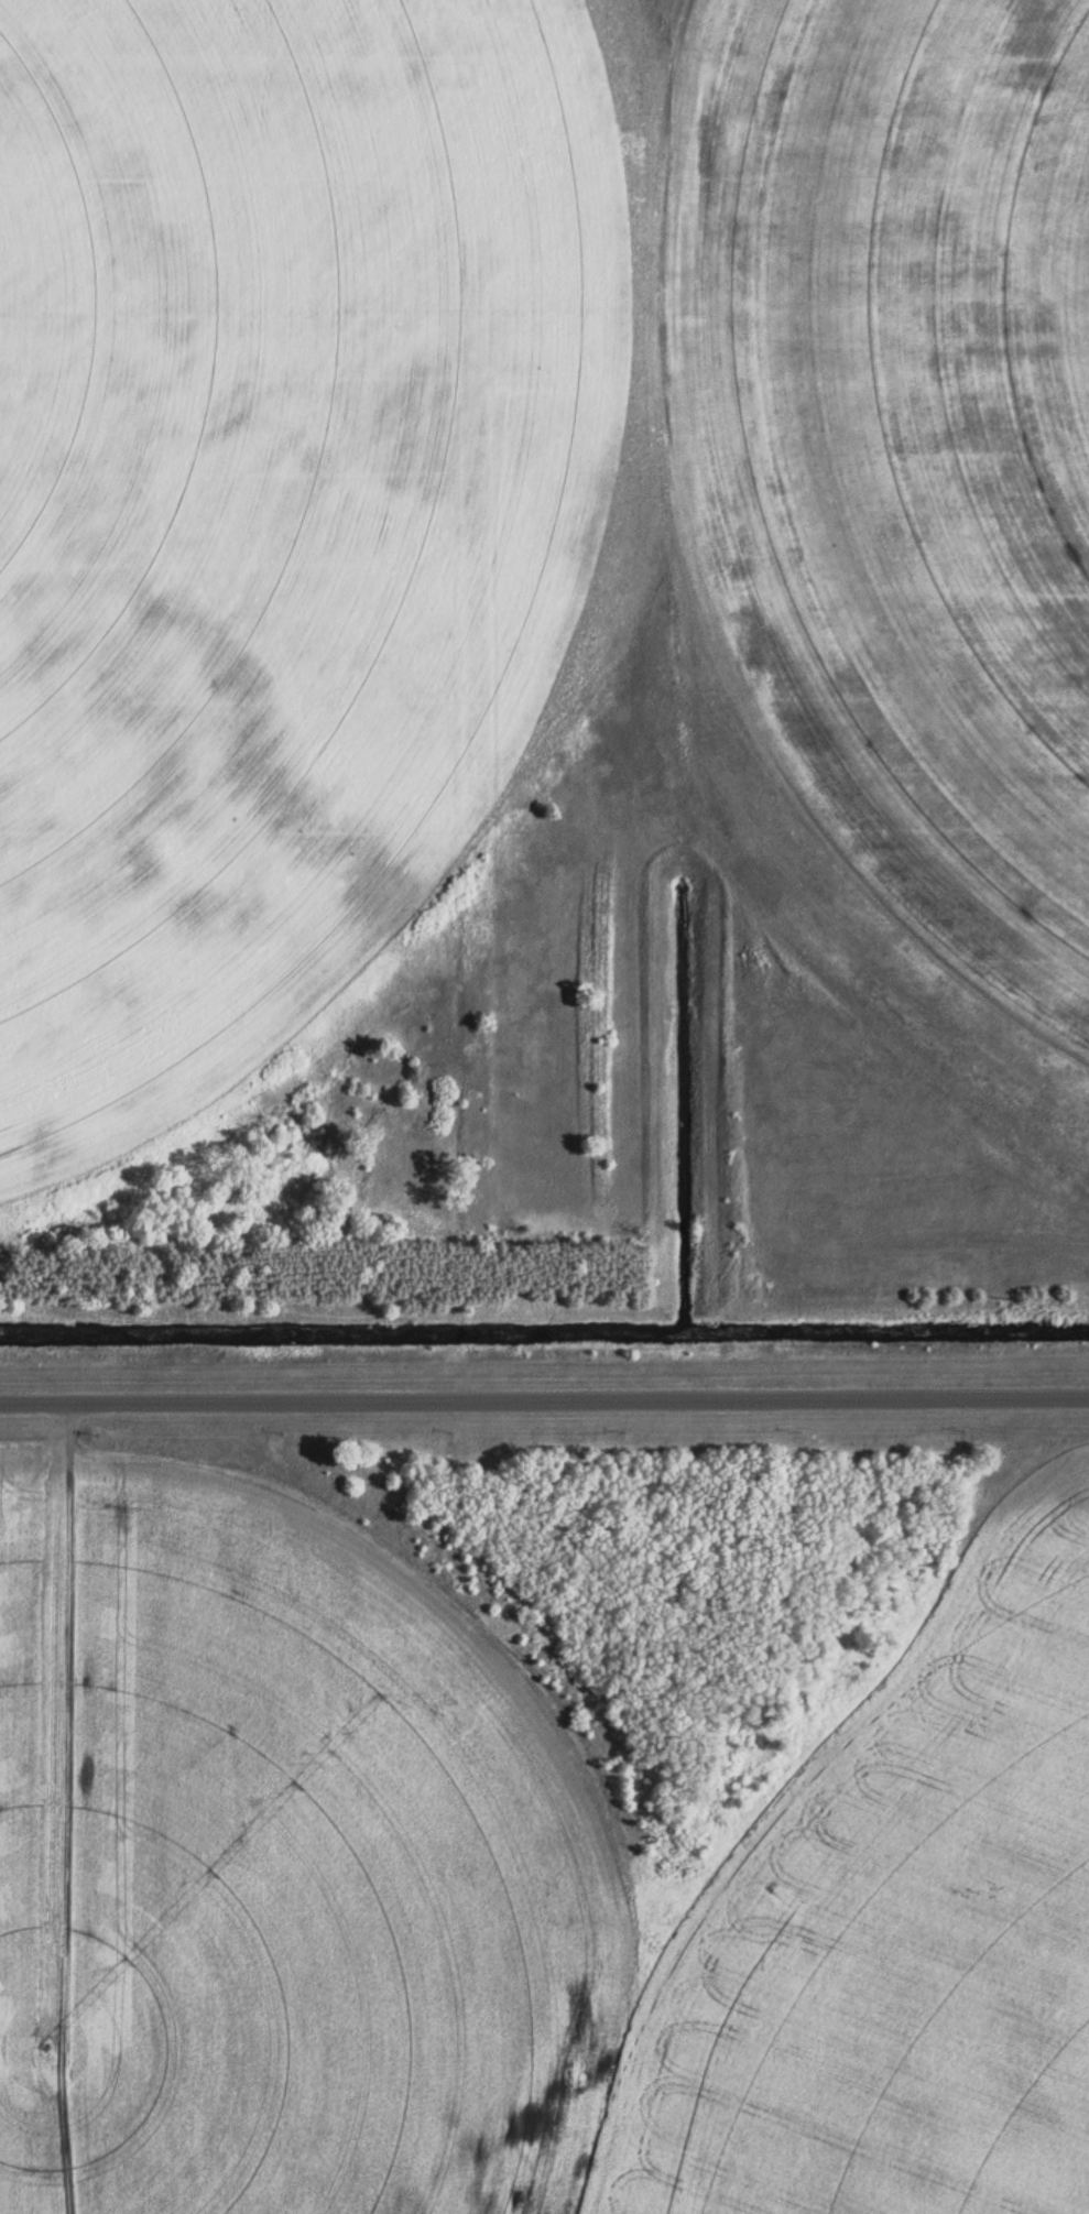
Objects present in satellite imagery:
wastewater plant: (544, 1106)
road: (544, 1396)

